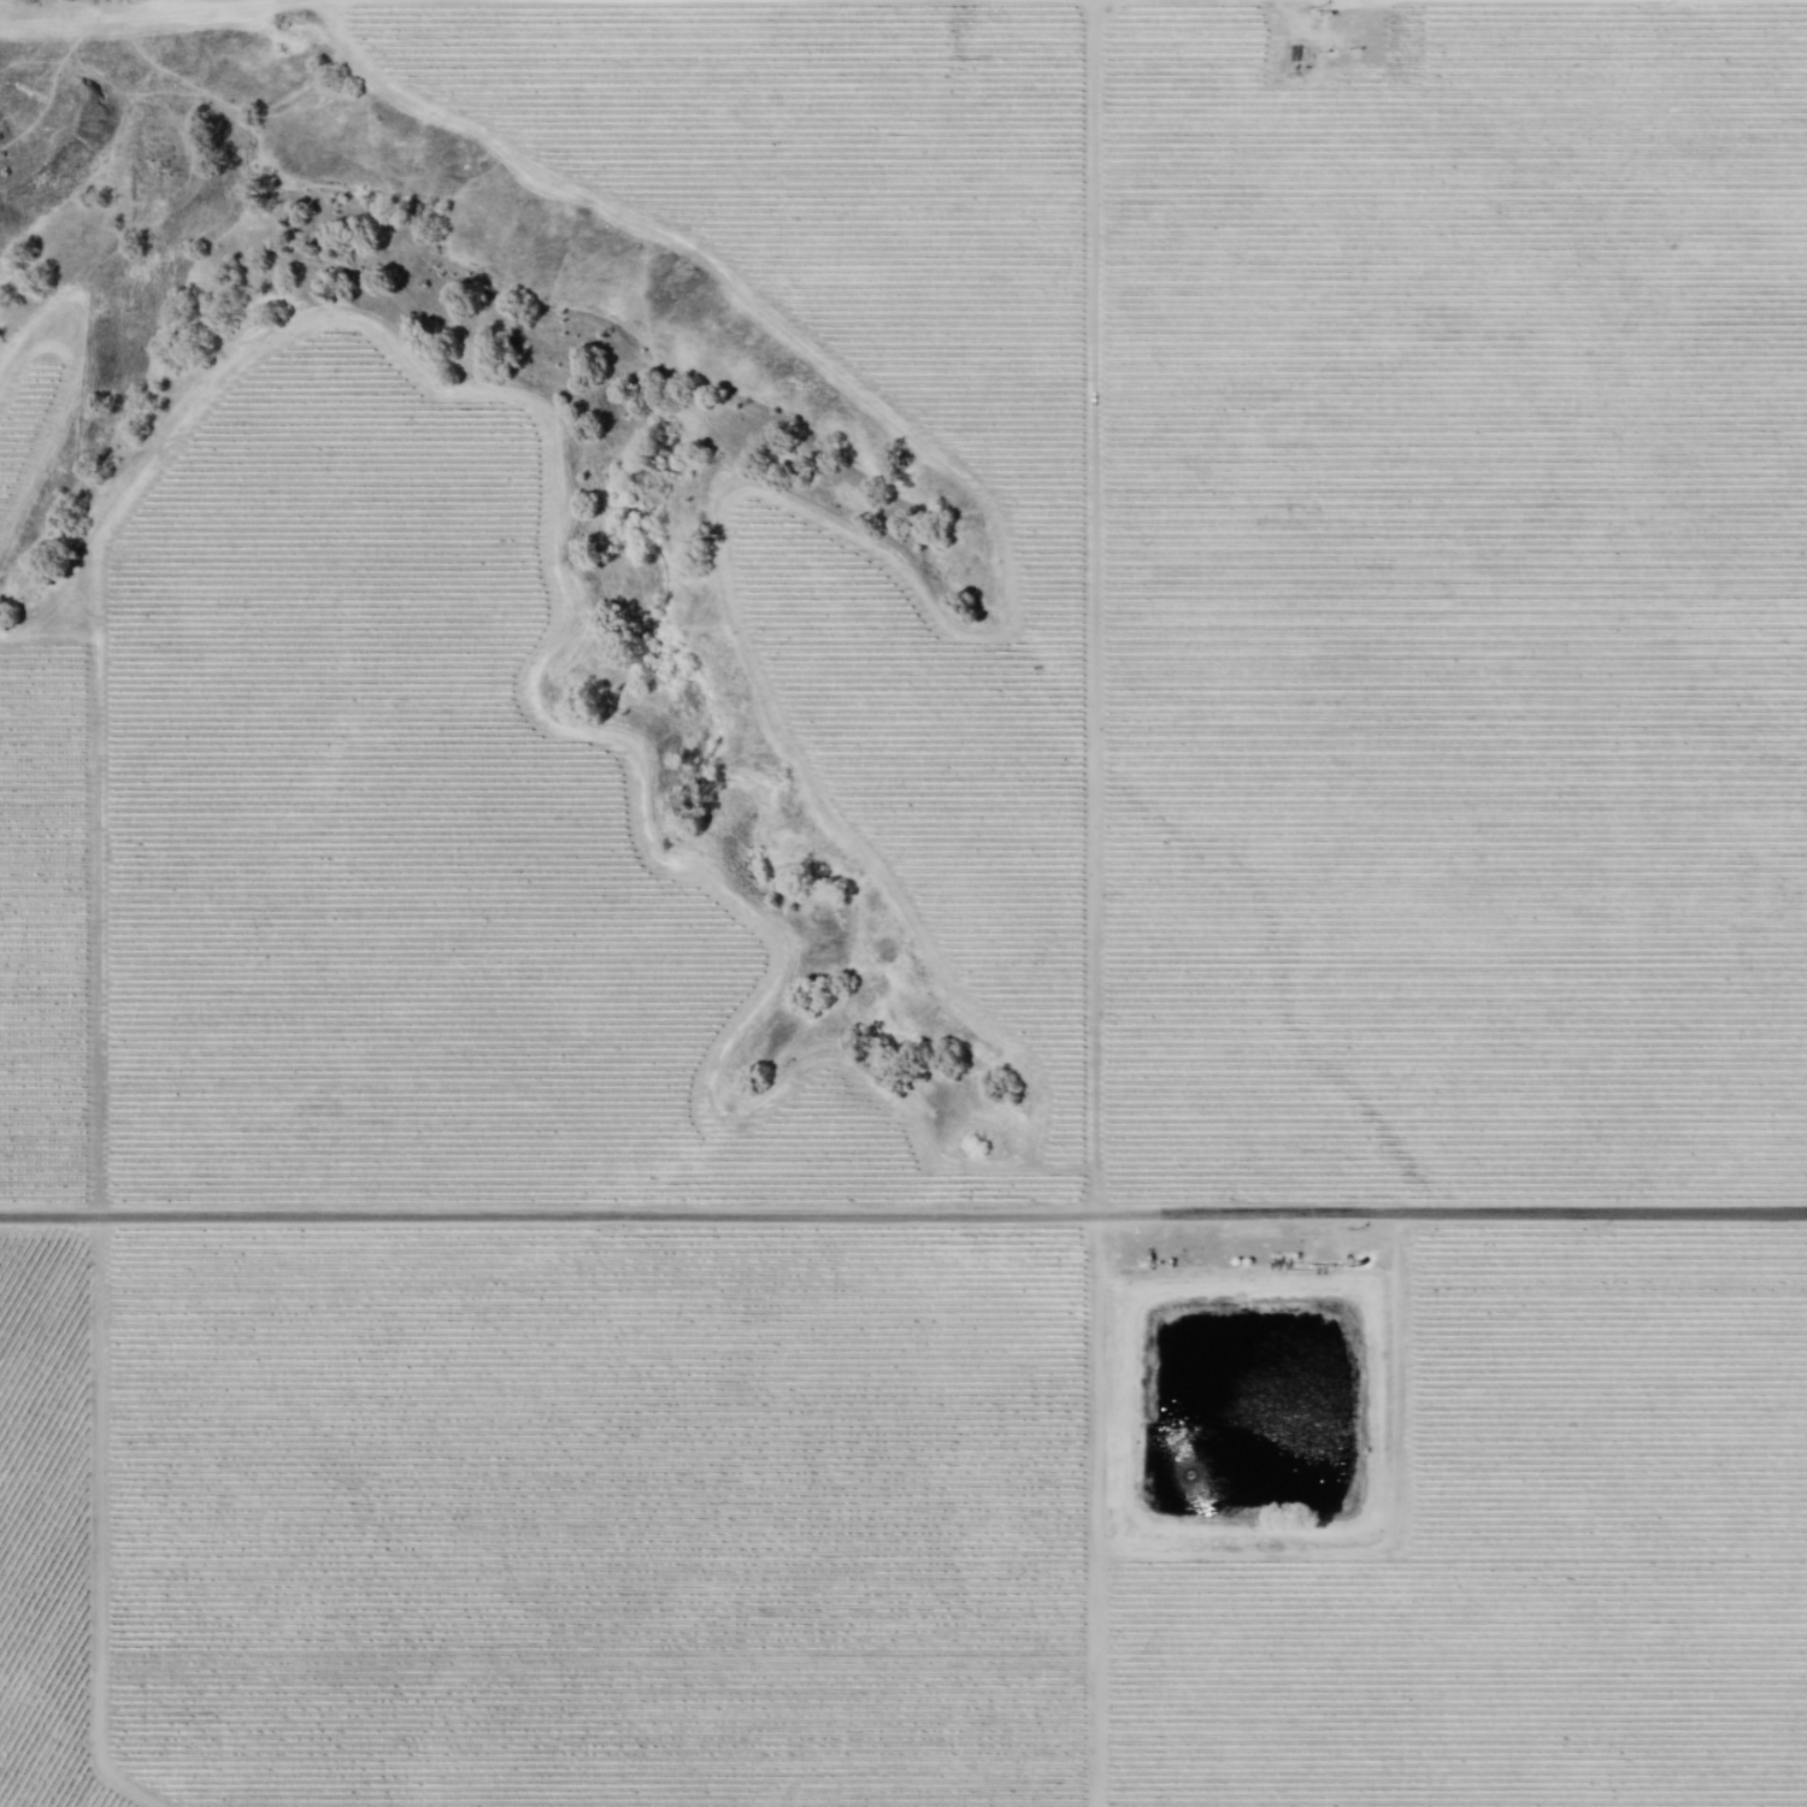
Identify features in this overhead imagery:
road: (902, 1214)

